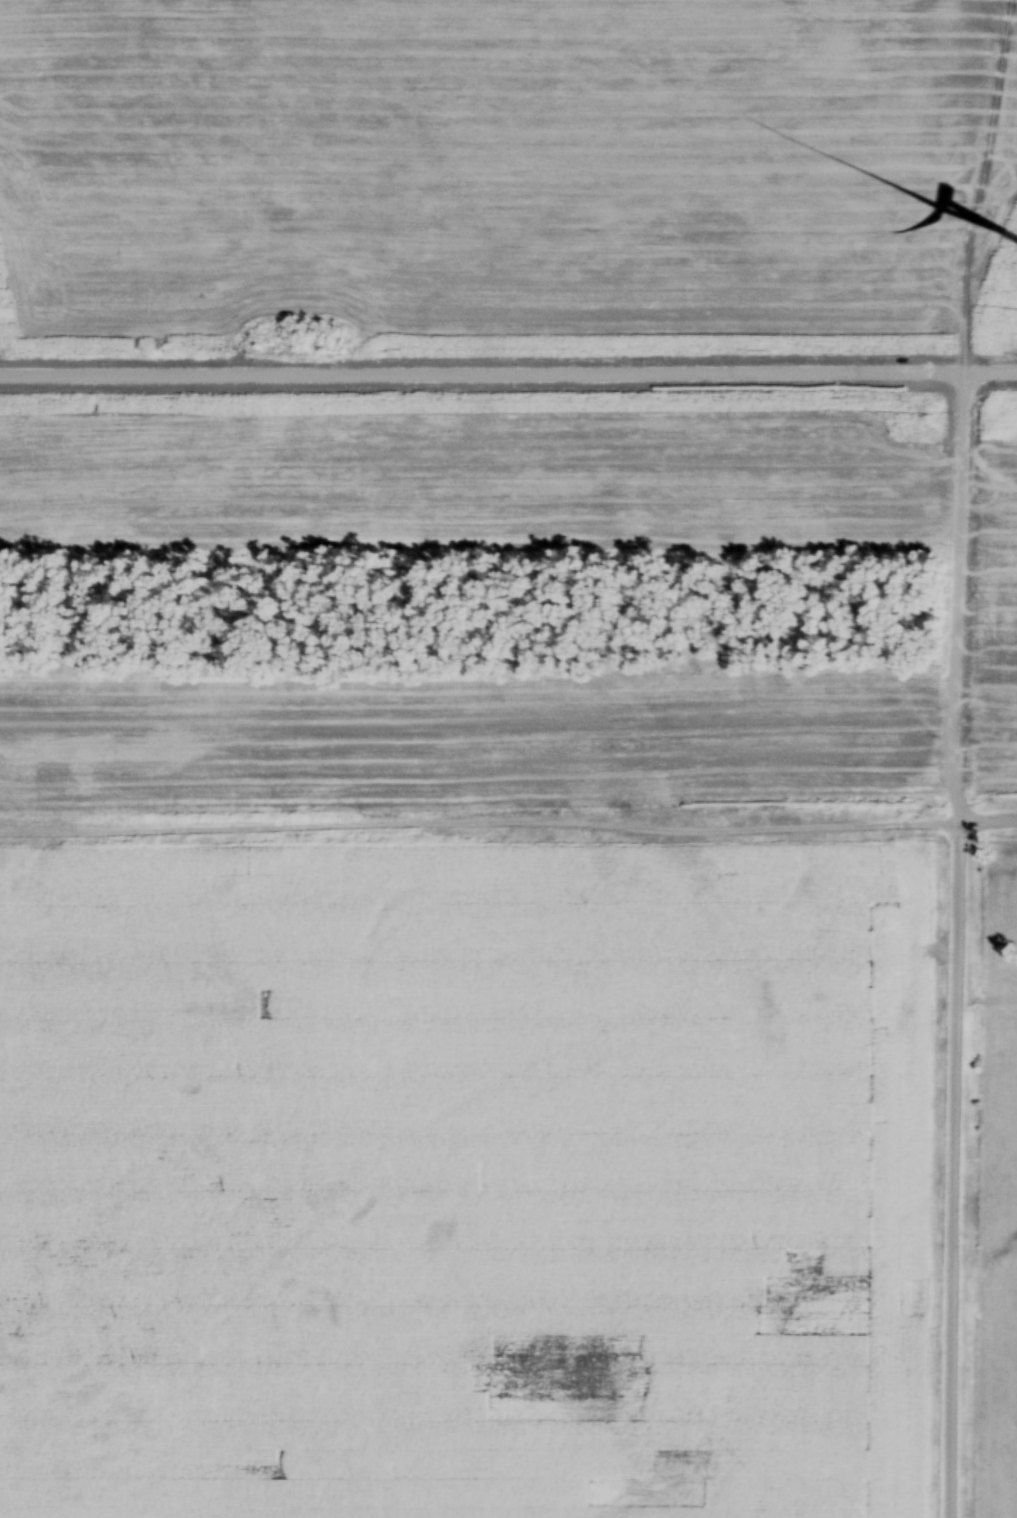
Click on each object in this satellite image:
road: (964, 758)
road: (508, 826)

